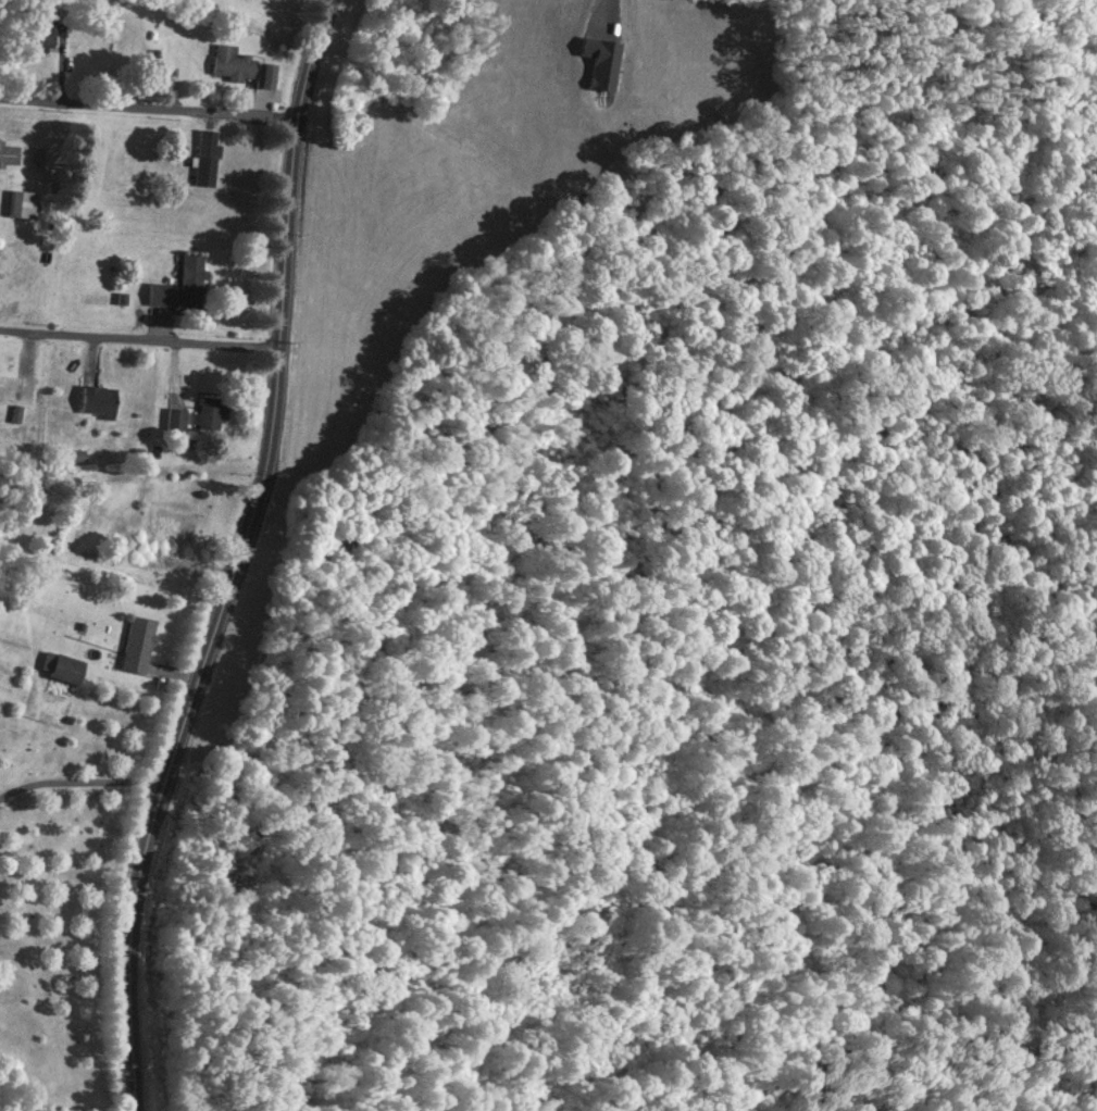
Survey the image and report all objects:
road: (875, 24)
building: (244, 68)
road: (149, 104)
building: (9, 154)
building: (207, 166)
building: (21, 204)
building: (180, 286)
road: (139, 346)
building: (13, 392)
building: (100, 402)
building: (211, 414)
building: (177, 421)
building: (160, 540)
road: (236, 559)
building: (139, 647)
building: (68, 671)
road: (64, 1003)

